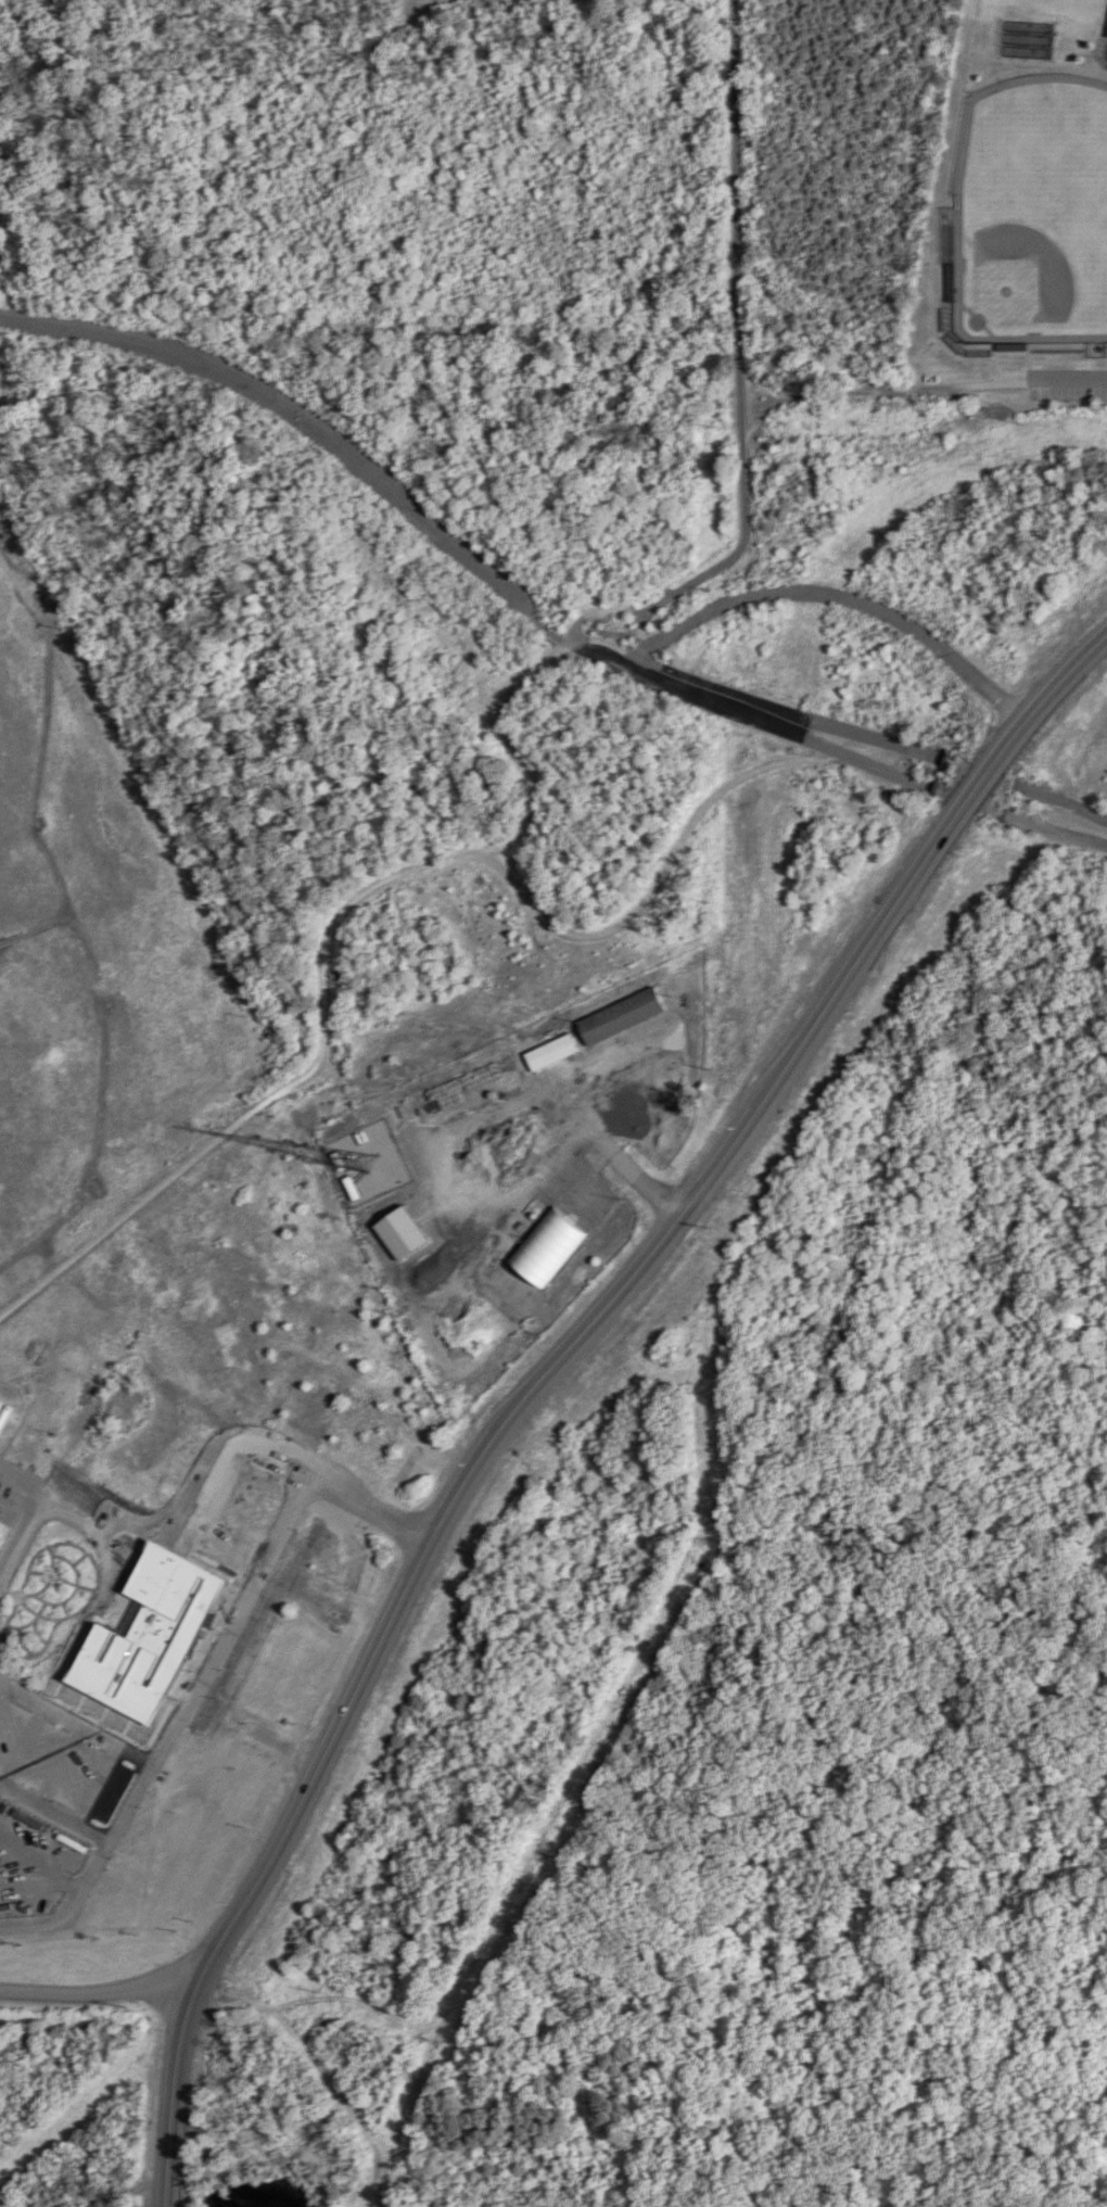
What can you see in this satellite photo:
park: (1071, 5)
park: (1032, 212)
road: (737, 218)
road: (1067, 382)
road: (877, 392)
road: (314, 430)
road: (741, 547)
road: (836, 593)
road: (600, 610)
road: (641, 630)
road: (606, 632)
road: (610, 638)
road: (606, 640)
road: (702, 682)
road: (751, 715)
road: (851, 732)
road: (1004, 747)
road: (518, 753)
road: (1065, 803)
road: (1055, 830)
road: (658, 879)
road: (828, 1004)
building: (621, 1015)
building: (551, 1051)
road: (277, 1096)
road: (624, 1168)
building: (404, 1232)
building: (547, 1245)
park: (157, 1341)
road: (557, 1359)
building: (1, 1403)
building: (4, 1413)
road: (207, 1476)
road: (24, 1483)
parking lot: (11, 1492)
building: (3, 1509)
road: (66, 1514)
road: (78, 1560)
road: (61, 1580)
road: (41, 1589)
road: (75, 1590)
road: (86, 1607)
road: (64, 1610)
road: (36, 1614)
road: (231, 1619)
road: (29, 1623)
road: (35, 1634)
road: (20, 1642)
road: (1, 1687)
road: (73, 1723)
road: (21, 1745)
parking lot: (59, 1764)
road: (59, 1765)
road: (94, 1785)
road: (304, 1794)
road: (127, 1801)
road: (52, 1813)
road: (68, 1907)
road: (99, 1992)
road: (776, 2038)
road: (174, 2080)
road: (167, 2193)

